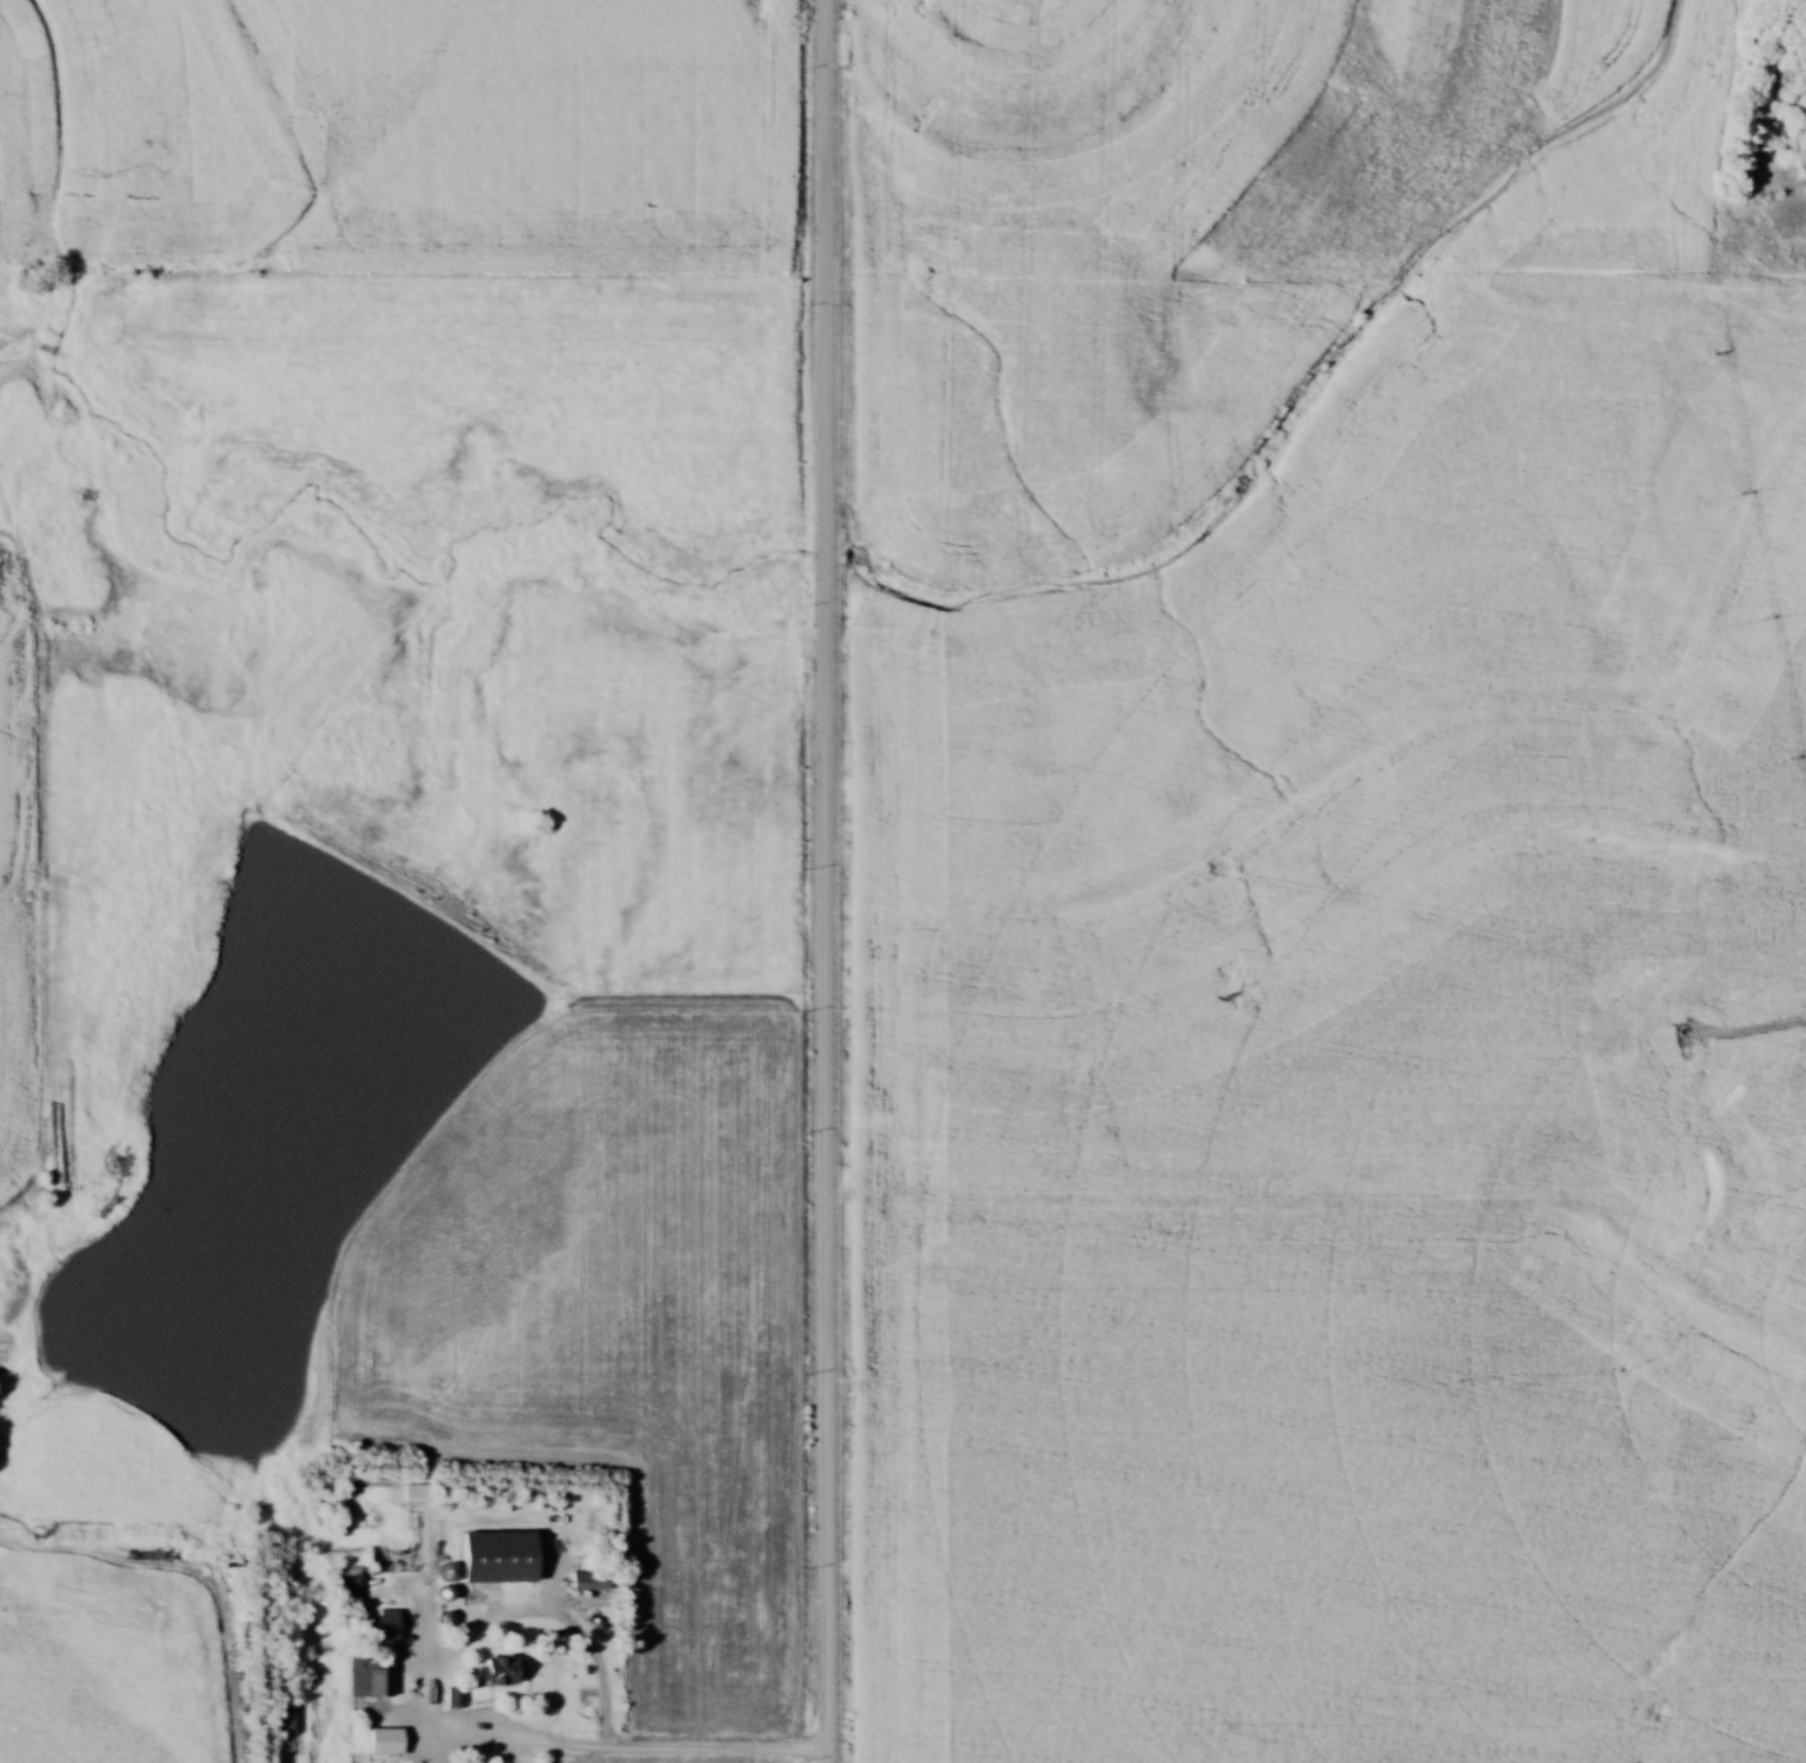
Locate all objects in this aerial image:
road: (829, 880)
building: (492, 1555)
building: (589, 1581)
building: (349, 1585)
building: (377, 1630)
building: (497, 1669)
building: (368, 1677)
building: (287, 1719)
building: (371, 1739)
road: (573, 1741)

